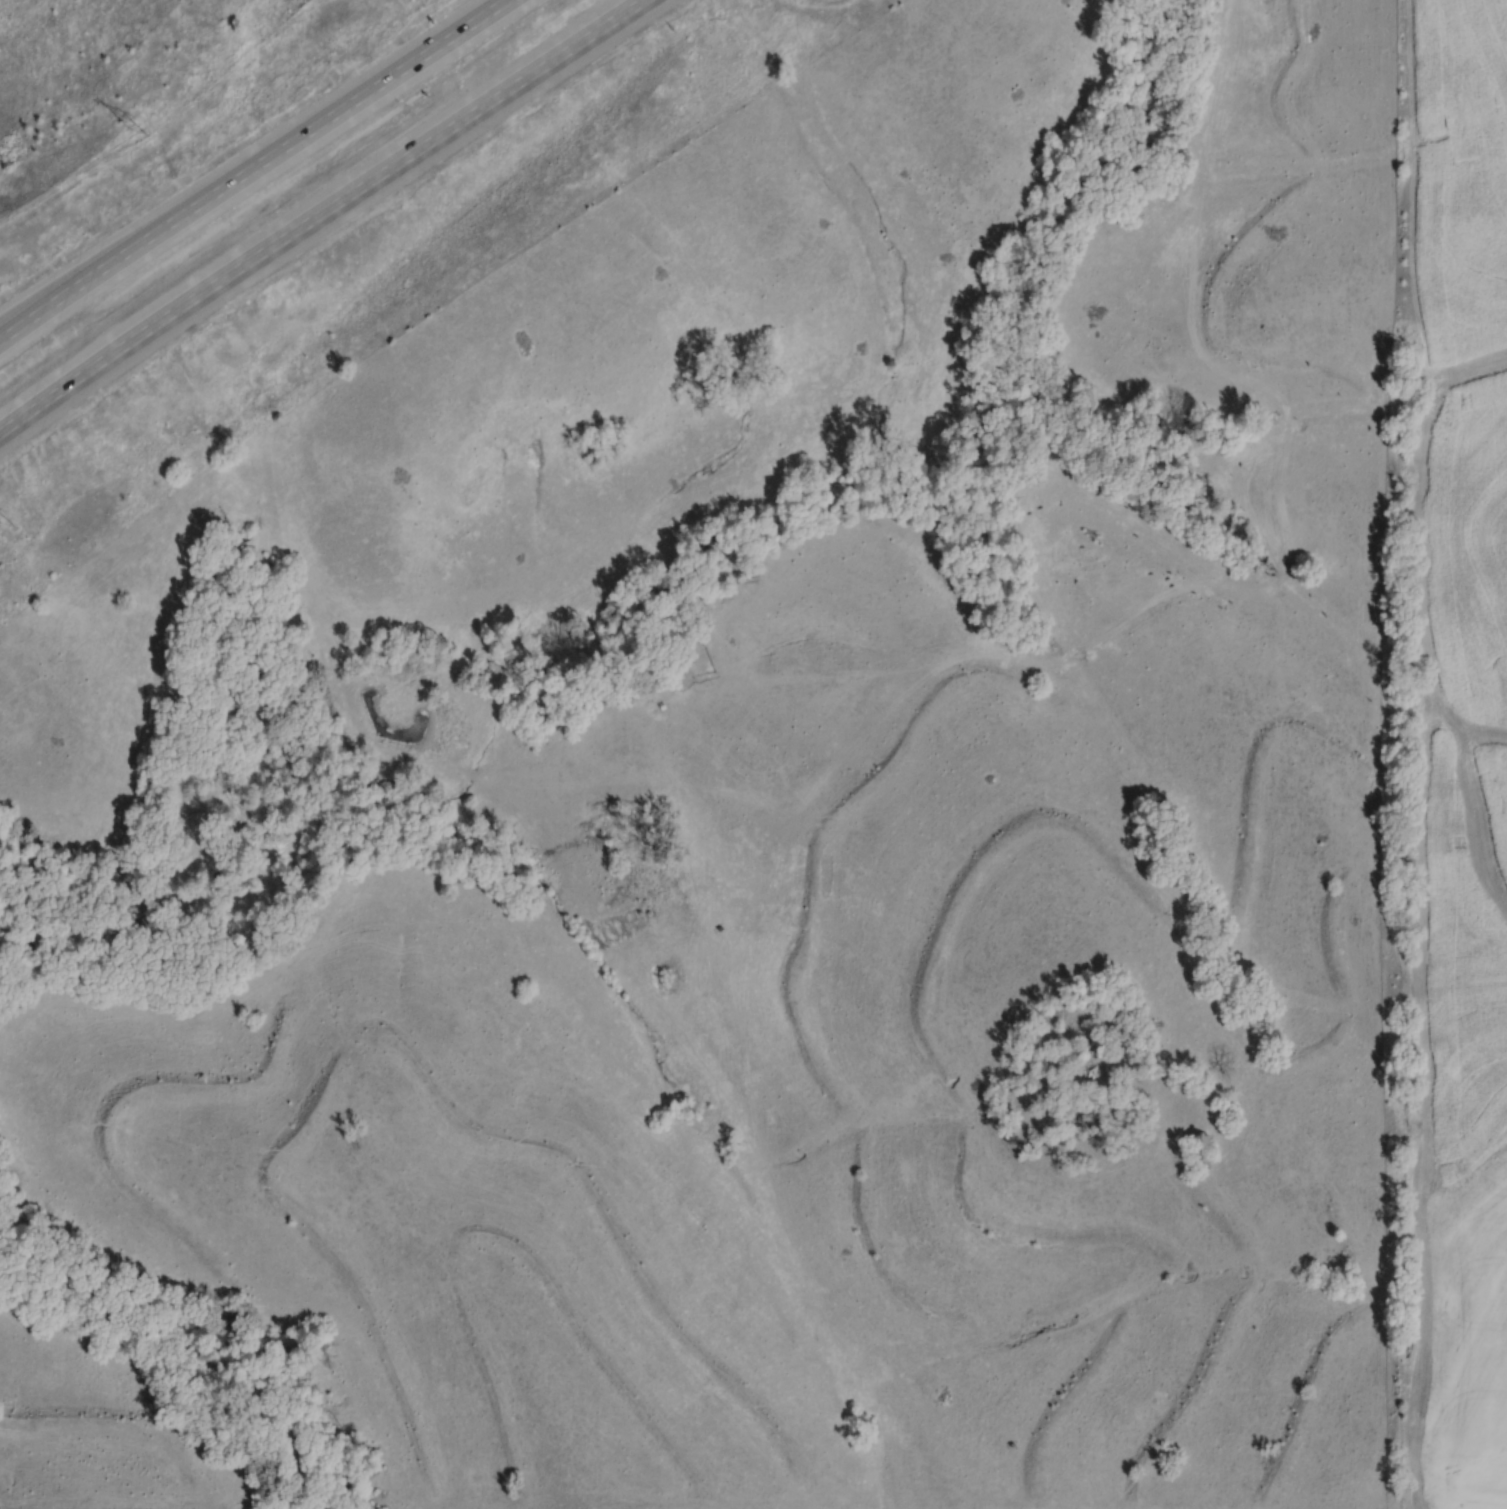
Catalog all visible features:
power tower: (134, 125)
road: (252, 167)
road: (319, 213)
road: (100, 263)
power tower: (12, 522)
building: (1198, 1150)

